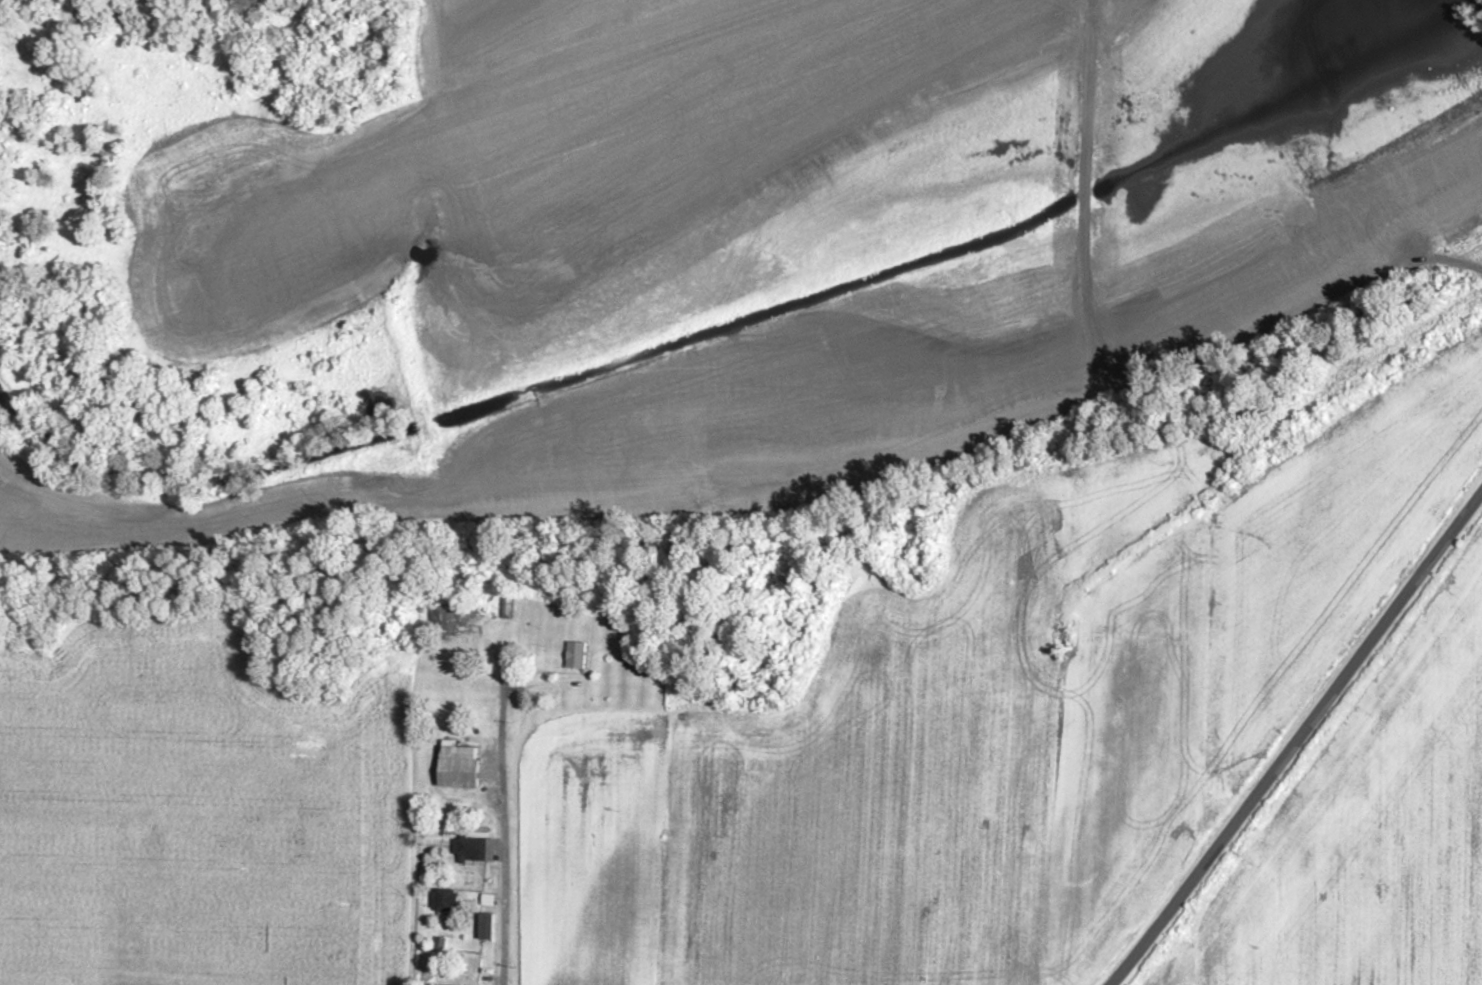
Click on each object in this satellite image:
building: (580, 655)
road: (1336, 743)
building: (463, 765)
road: (533, 801)
building: (479, 850)
building: (493, 900)
building: (449, 901)
building: (491, 926)

